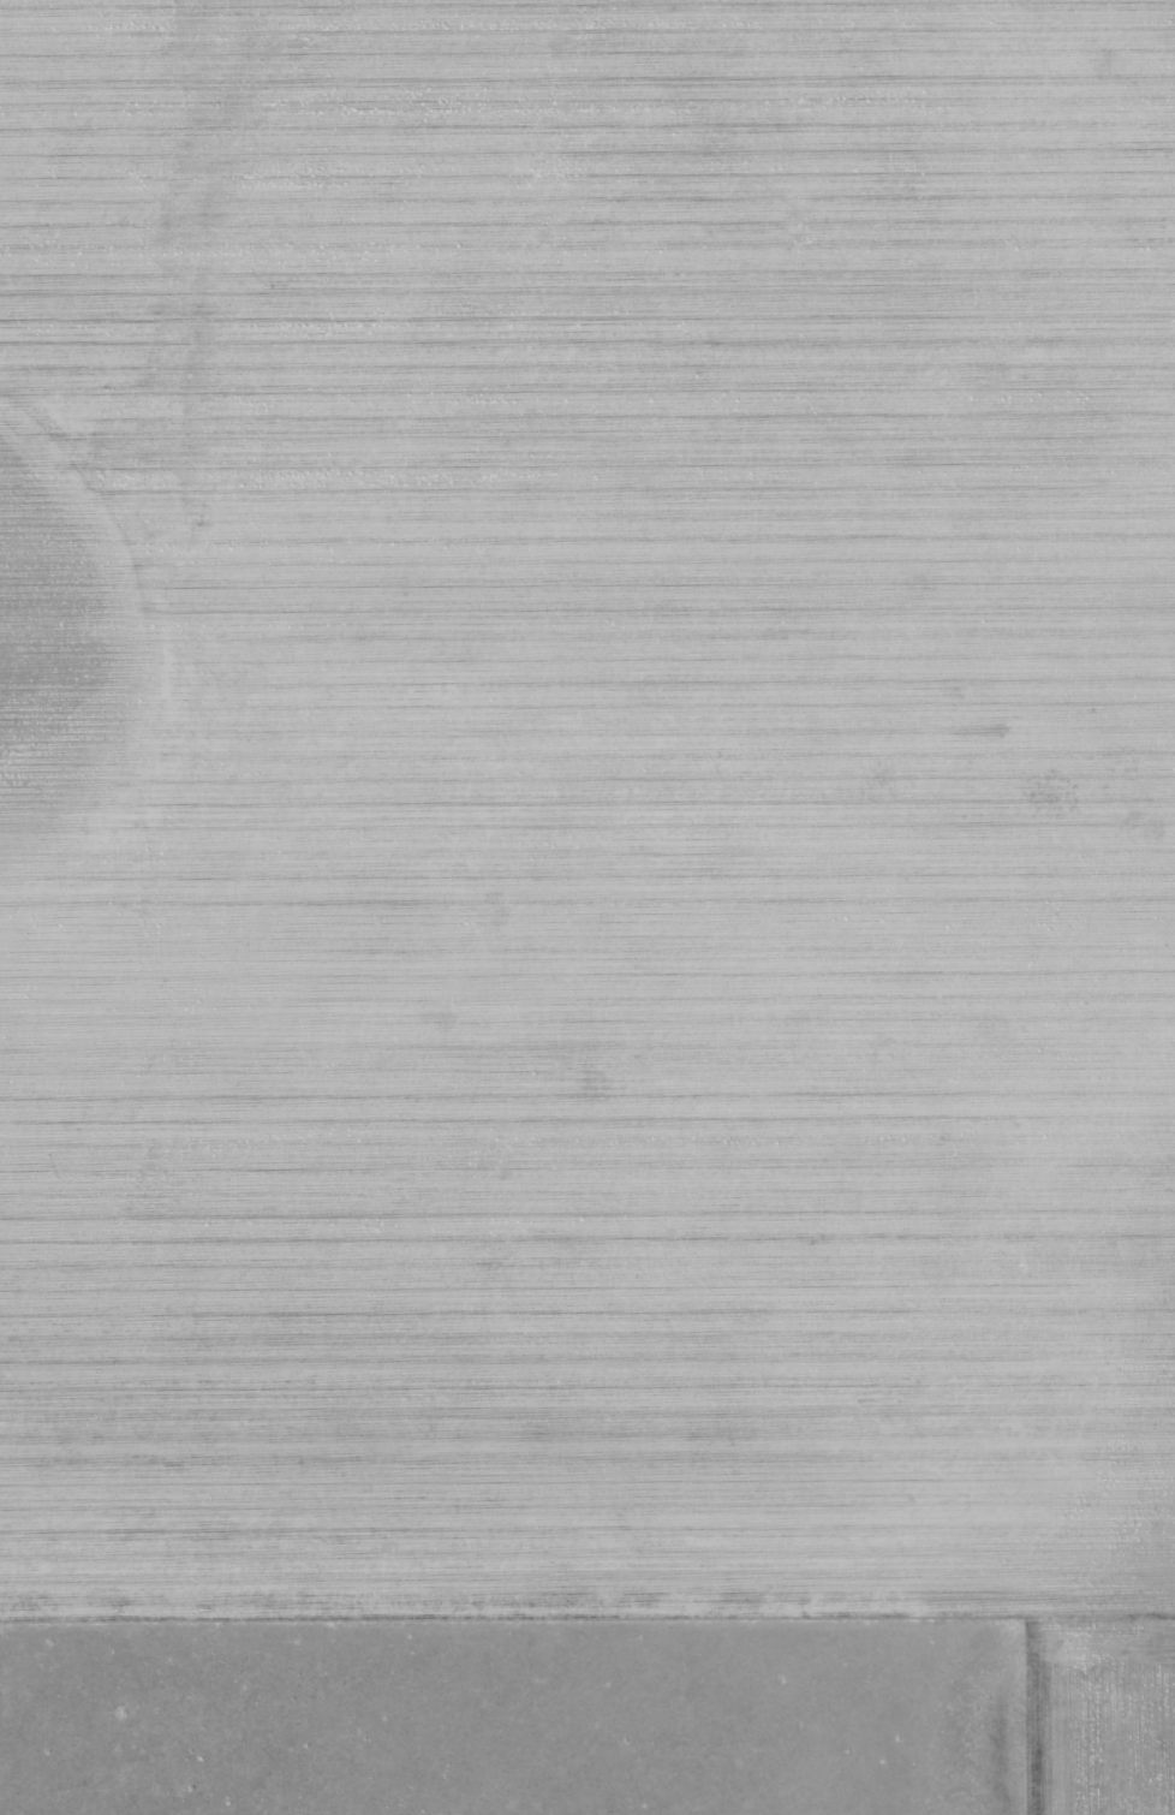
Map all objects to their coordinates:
road: (587, 1612)

